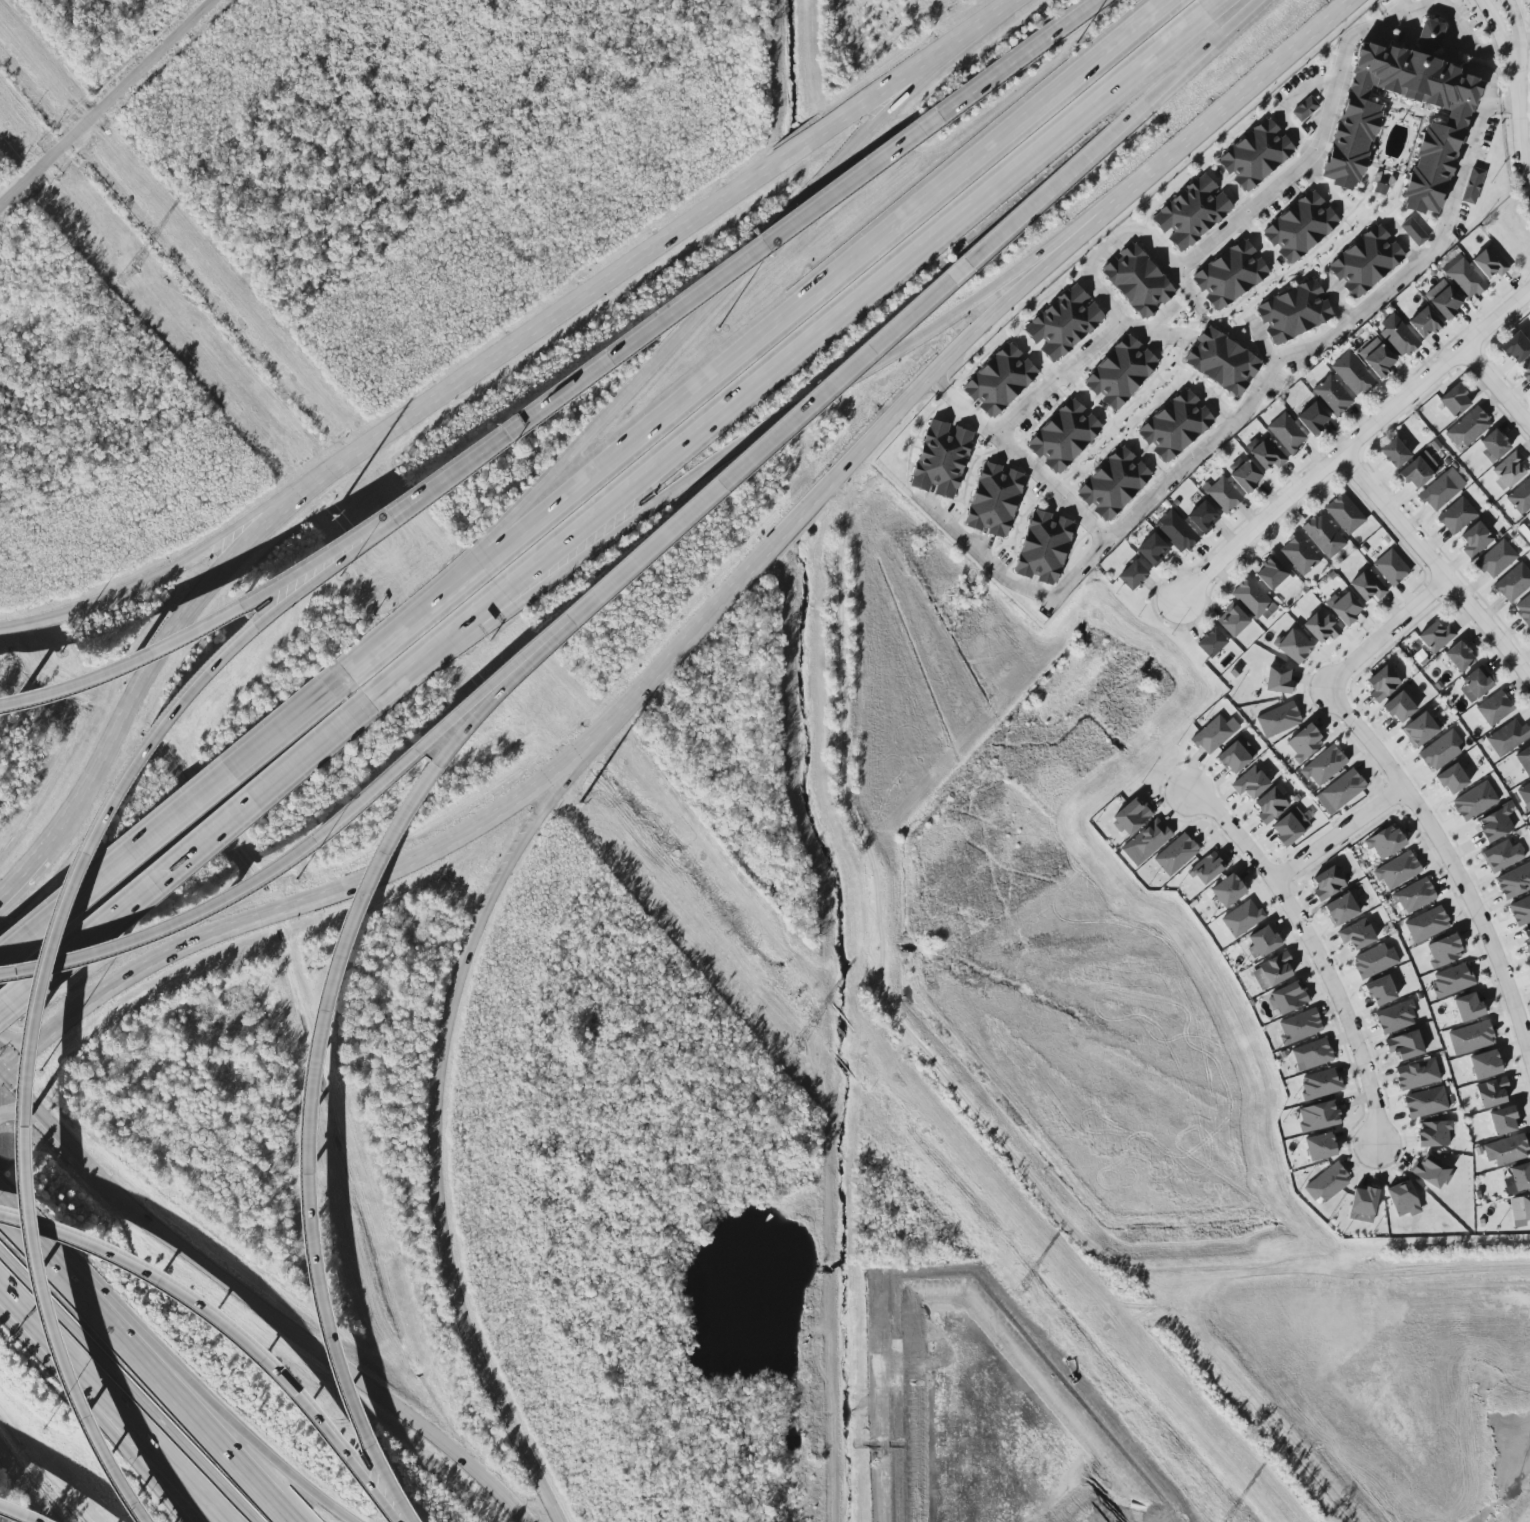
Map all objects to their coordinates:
road: (1454, 22)
building: (1430, 35)
road: (963, 36)
road: (1524, 42)
road: (1503, 43)
road: (1518, 44)
road: (1019, 58)
road: (1257, 89)
road: (107, 103)
road: (1287, 104)
road: (1510, 104)
building: (1304, 109)
road: (1115, 132)
road: (1521, 137)
road: (1526, 150)
building: (1436, 152)
building: (1256, 155)
building: (1472, 186)
building: (1192, 213)
building: (1300, 227)
building: (1413, 232)
road: (1148, 240)
building: (1366, 261)
building: (1489, 262)
power tower: (125, 275)
building: (1230, 275)
building: (1463, 277)
road: (610, 281)
building: (1137, 281)
building: (1442, 299)
building: (1294, 312)
road: (658, 319)
building: (1424, 322)
building: (1063, 323)
building: (1397, 336)
road: (814, 345)
road: (763, 346)
building: (1515, 347)
building: (1377, 357)
building: (1221, 361)
road: (943, 362)
building: (1526, 372)
building: (1120, 373)
building: (1352, 374)
road: (1268, 375)
road: (648, 380)
building: (1000, 380)
road: (937, 382)
road: (1496, 387)
building: (1332, 395)
building: (1454, 401)
building: (1312, 418)
building: (1175, 426)
building: (1467, 427)
building: (1285, 433)
road: (777, 435)
building: (1064, 436)
road: (1353, 443)
building: (1493, 445)
building: (1265, 453)
building: (1394, 453)
building: (941, 460)
building: (1418, 470)
building: (1508, 470)
road: (743, 472)
building: (1243, 474)
building: (1113, 484)
building: (1441, 489)
building: (1223, 495)
building: (1520, 497)
building: (994, 500)
building: (1344, 513)
building: (1456, 515)
power tower: (329, 517)
building: (1203, 517)
building: (1176, 531)
building: (1323, 535)
road: (235, 536)
building: (1474, 540)
building: (1044, 547)
building: (1152, 550)
building: (1298, 554)
building: (1496, 559)
road: (1435, 566)
building: (1390, 567)
building: (1132, 575)
building: (1273, 575)
road: (1017, 582)
building: (1513, 582)
building: (1366, 585)
building: (1253, 599)
building: (1343, 607)
building: (1523, 609)
road: (82, 610)
building: (1231, 619)
road: (194, 626)
building: (1320, 626)
building: (1529, 629)
building: (1529, 631)
road: (1386, 633)
building: (1435, 636)
building: (1210, 643)
building: (1292, 646)
building: (1459, 656)
road: (158, 659)
building: (1277, 680)
building: (1381, 684)
building: (1473, 685)
road: (385, 703)
building: (1399, 707)
building: (1494, 708)
building: (1278, 719)
building: (1419, 730)
building: (1214, 734)
building: (1507, 737)
building: (1304, 743)
building: (1439, 751)
building: (1235, 755)
building: (1524, 760)
building: (1323, 765)
building: (1451, 779)
building: (1249, 783)
building: (1340, 791)
building: (1524, 793)
building: (1474, 801)
power tower: (579, 805)
building: (1269, 805)
building: (1131, 816)
building: (1494, 824)
road: (174, 827)
building: (1289, 827)
road: (1339, 833)
building: (1148, 840)
building: (1384, 842)
building: (1175, 854)
building: (1501, 855)
road: (1450, 860)
road: (277, 863)
road: (406, 863)
road: (185, 868)
building: (1207, 868)
building: (1397, 870)
road: (22, 877)
building: (1514, 881)
building: (1327, 883)
building: (1227, 890)
building: (1413, 896)
building: (1340, 909)
building: (1520, 911)
building: (1241, 918)
building: (1426, 924)
road: (477, 932)
building: (1356, 934)
building: (1526, 940)
building: (1262, 942)
road: (1315, 950)
building: (1443, 951)
building: (1373, 960)
road: (28, 969)
building: (1271, 972)
building: (1451, 980)
building: (1380, 990)
building: (1286, 998)
building: (1467, 1006)
building: (1395, 1017)
building: (1299, 1026)
building: (1470, 1037)
road: (15, 1045)
building: (1404, 1045)
power tower: (789, 1053)
building: (1311, 1054)
building: (1484, 1064)
building: (1416, 1074)
road: (2, 1075)
road: (301, 1076)
traffic signals: (5, 1078)
road: (2, 1080)
building: (1320, 1084)
building: (1491, 1092)
building: (1425, 1102)
road: (32, 1106)
building: (1317, 1116)
building: (1502, 1120)
road: (30, 1122)
building: (1433, 1133)
building: (1319, 1146)
building: (1505, 1150)
road: (77, 1153)
building: (1430, 1171)
building: (1518, 1178)
building: (1327, 1183)
building: (1402, 1199)
building: (1362, 1204)
building: (1520, 1210)
power tower: (1018, 1292)
road: (226, 1330)
road: (468, 1335)
road: (32, 1337)
road: (315, 1343)
road: (142, 1365)
road: (125, 1387)
road: (214, 1406)
road: (123, 1445)
road: (135, 1446)
road: (27, 1484)
road: (13, 1514)

